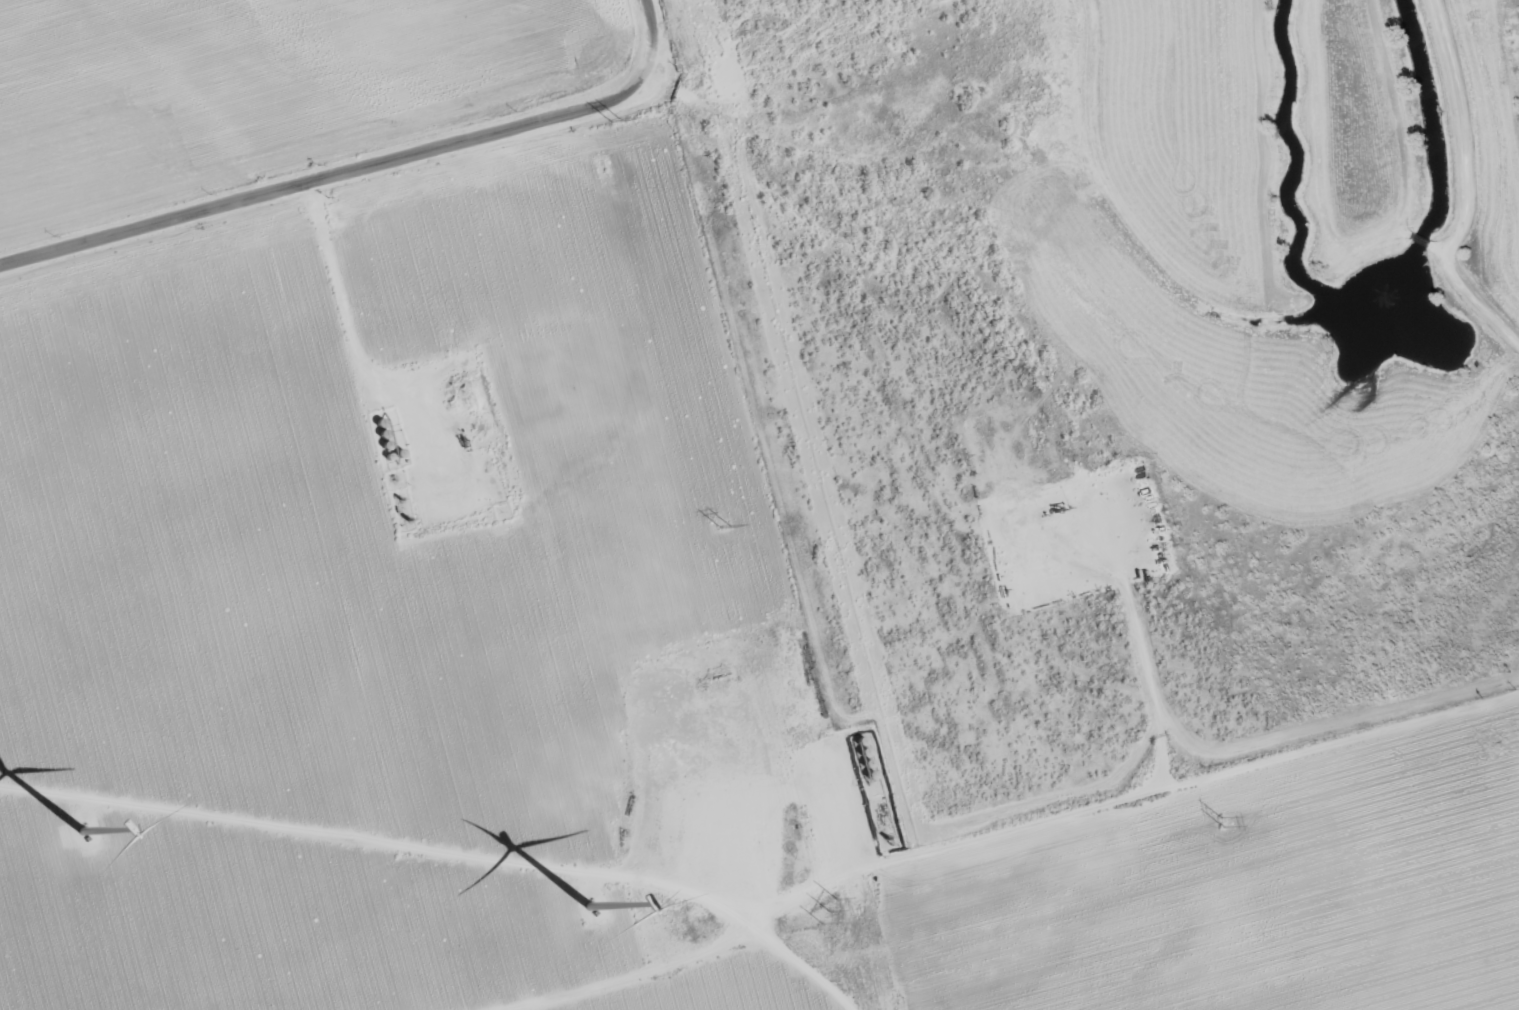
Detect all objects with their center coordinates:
road: (632, 52)
road: (689, 114)
power tower: (615, 118)
road: (323, 190)
power tower: (724, 524)
road: (949, 533)
power tower: (1220, 821)
wind turbine: (82, 831)
road: (1009, 841)
wind turbine: (588, 907)
power tower: (828, 912)
road: (801, 966)

